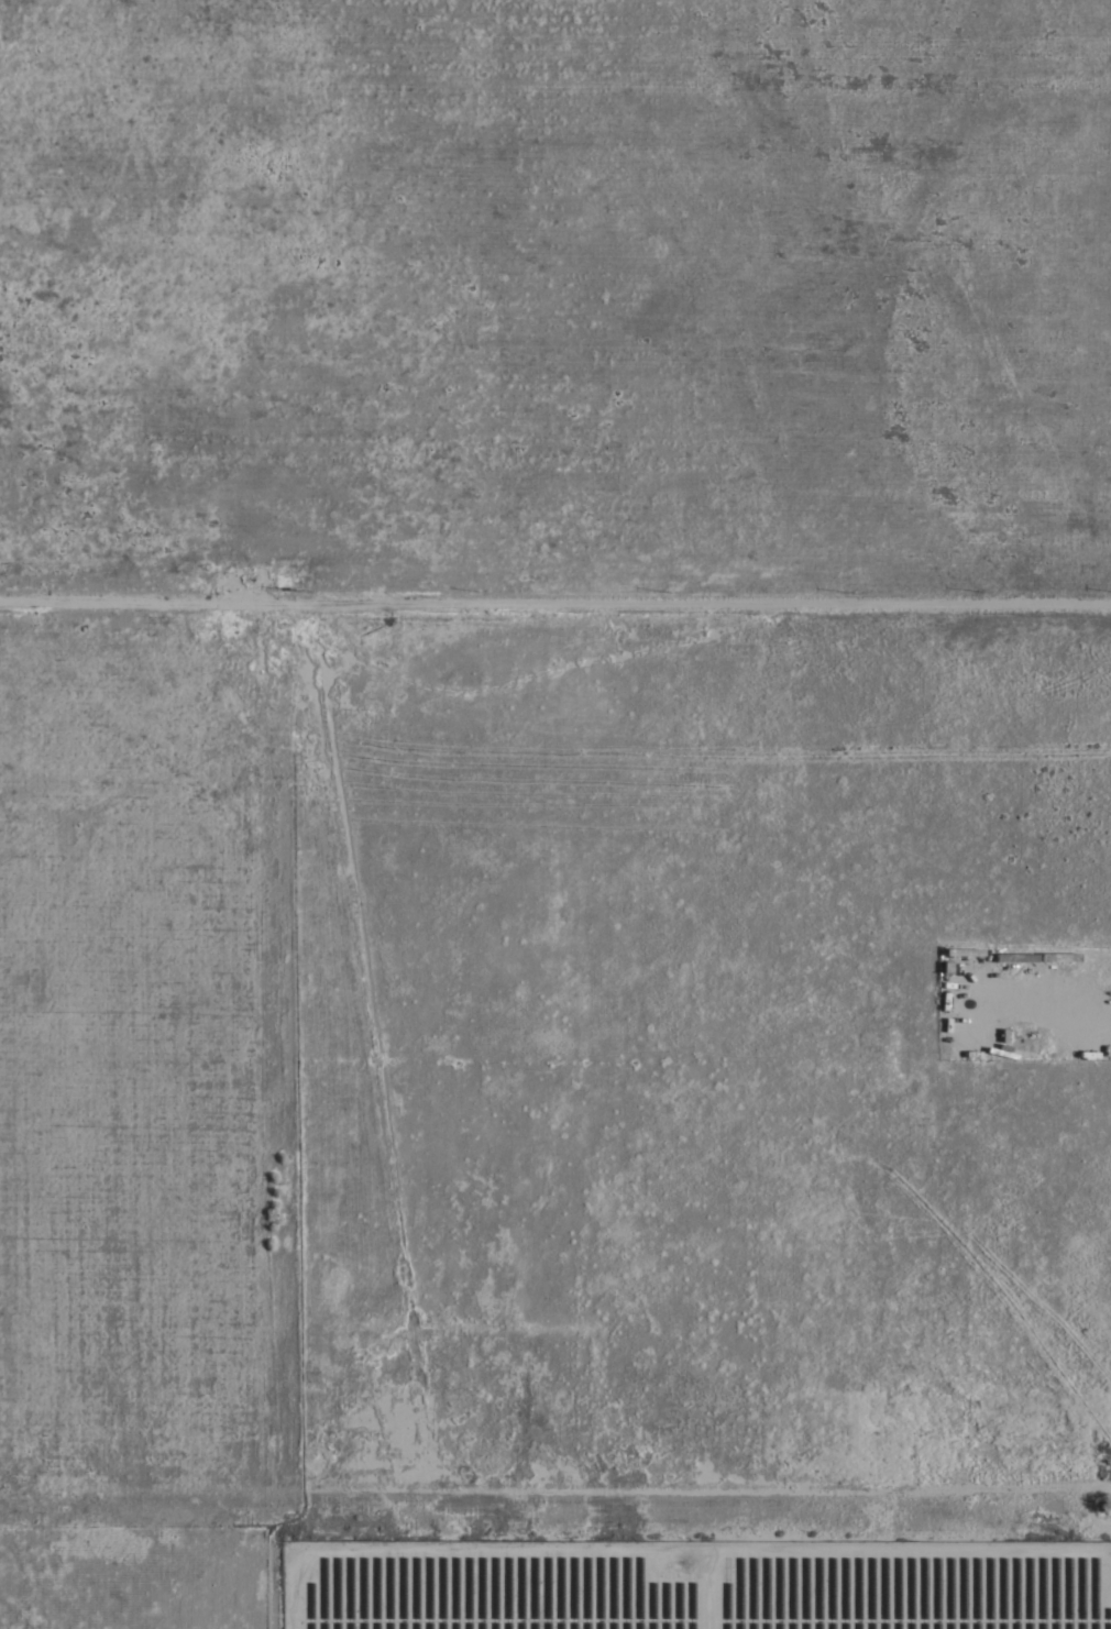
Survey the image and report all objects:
crop: (553, 298)
building: (238, 591)
building: (964, 951)
crop: (553, 1573)
solar farm: (694, 1584)

